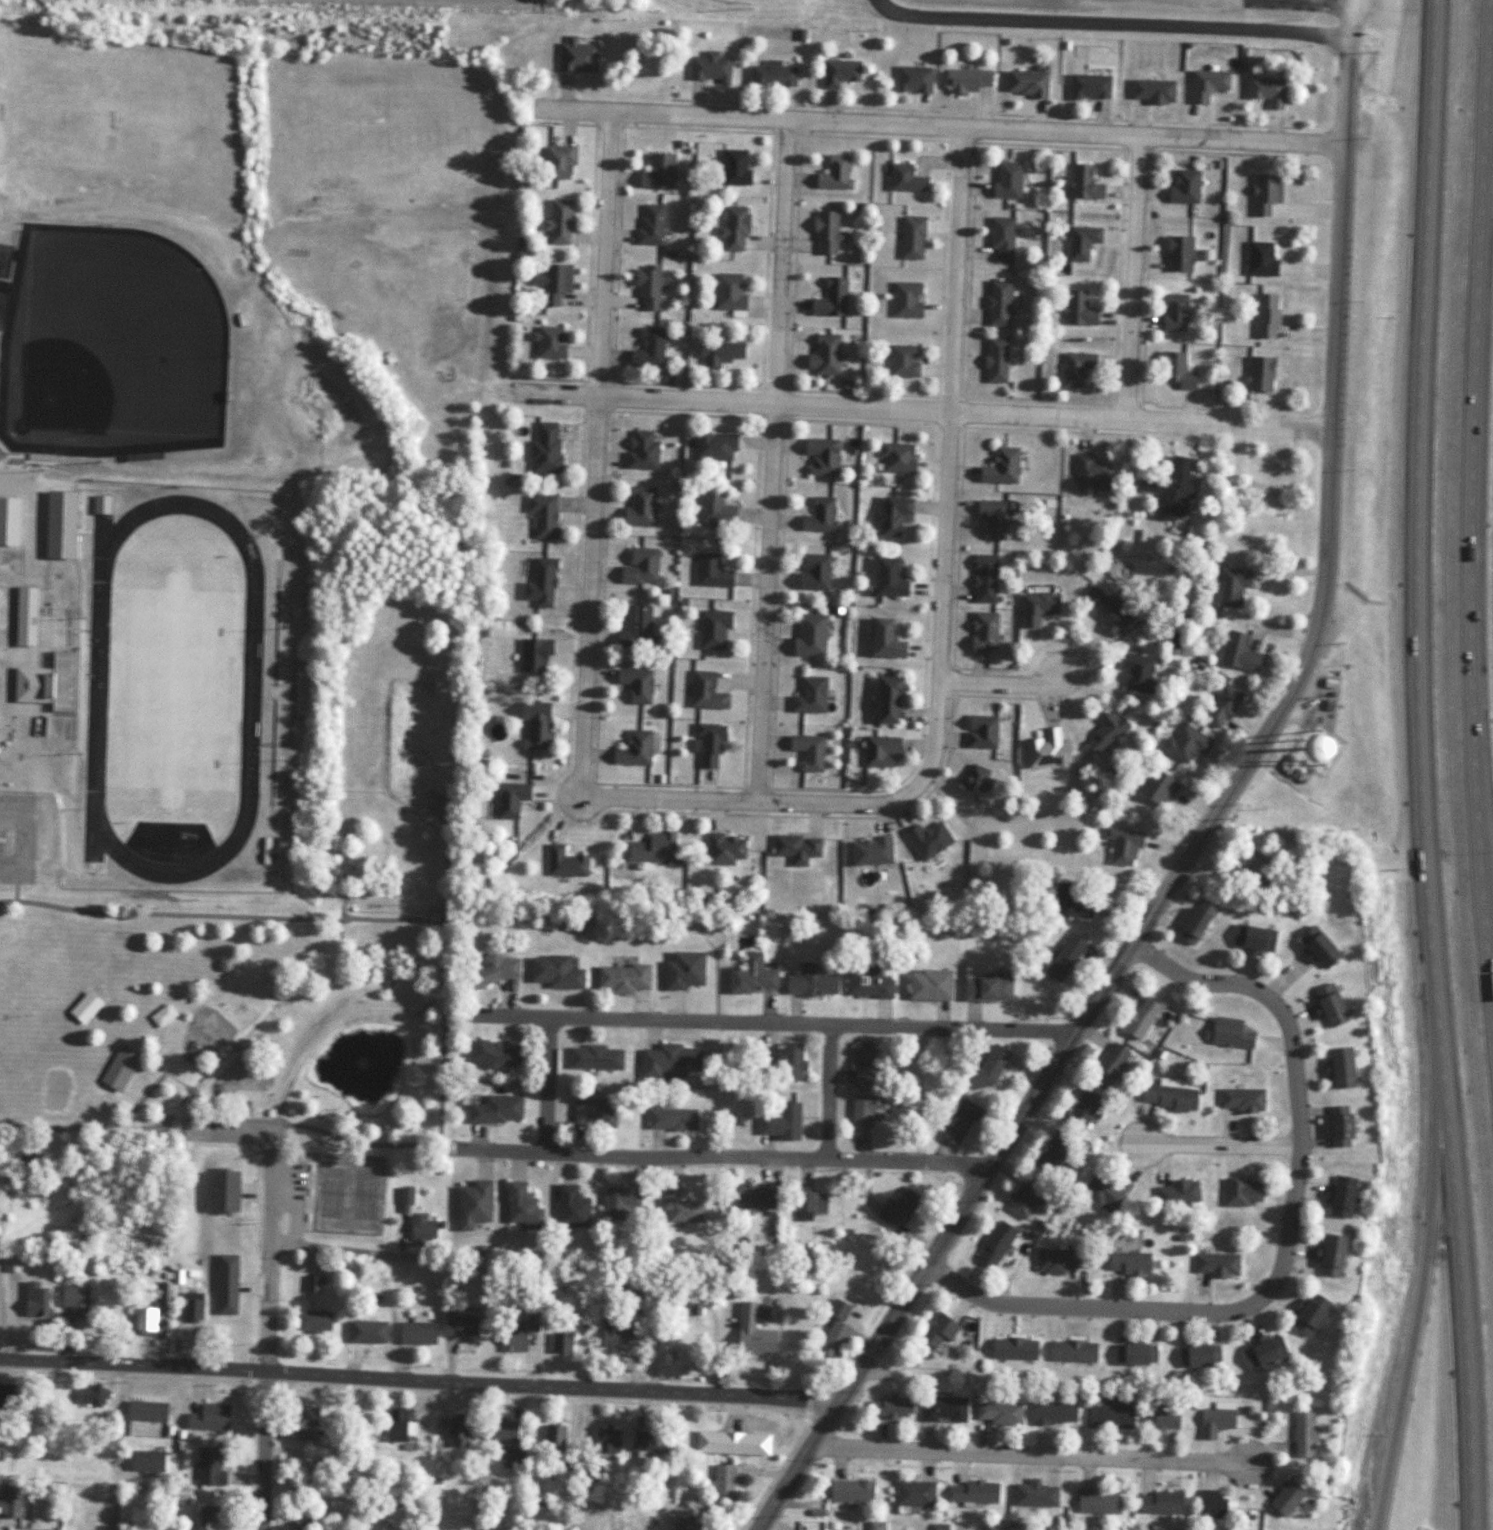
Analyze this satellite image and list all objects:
park: (782, 1)
road: (1110, 24)
building: (576, 56)
building: (709, 68)
building: (839, 72)
building: (771, 75)
building: (912, 80)
building: (965, 81)
building: (1025, 83)
building: (1206, 84)
building: (1088, 87)
building: (1153, 91)
building: (1265, 91)
road: (936, 127)
building: (557, 161)
building: (732, 168)
building: (657, 172)
building: (834, 174)
building: (904, 180)
building: (1006, 180)
building: (1083, 184)
building: (1183, 187)
building: (1264, 193)
building: (557, 222)
building: (650, 225)
building: (732, 229)
building: (826, 233)
building: (910, 238)
building: (1001, 238)
building: (1080, 242)
building: (1178, 254)
building: (1260, 259)
road: (1132, 277)
building: (553, 283)
building: (647, 287)
building: (728, 292)
building: (830, 298)
building: (905, 300)
building: (997, 303)
building: (1076, 309)
building: (1173, 313)
building: (1265, 316)
park: (118, 341)
building: (550, 342)
building: (647, 349)
building: (718, 353)
building: (823, 356)
building: (994, 360)
building: (902, 361)
building: (1075, 368)
building: (1175, 371)
building: (1259, 374)
road: (923, 409)
building: (712, 446)
building: (546, 448)
building: (640, 449)
road: (946, 453)
building: (820, 455)
road: (593, 456)
building: (895, 457)
road: (769, 462)
building: (1000, 466)
road: (1480, 469)
building: (1090, 472)
building: (1170, 489)
building: (99, 503)
building: (638, 505)
building: (713, 505)
building: (544, 514)
building: (891, 514)
building: (819, 515)
building: (992, 518)
building: (639, 566)
building: (709, 569)
building: (812, 571)
building: (886, 577)
building: (984, 578)
building: (540, 580)
building: (1231, 586)
building: (1037, 607)
building: (1103, 609)
building: (23, 616)
building: (634, 627)
building: (711, 629)
building: (982, 631)
building: (809, 635)
building: (882, 638)
building: (1237, 652)
building: (535, 653)
park: (378, 658)
building: (1136, 672)
road: (1000, 683)
building: (635, 684)
building: (29, 685)
stadium: (171, 686)
building: (704, 691)
building: (810, 695)
building: (886, 699)
building: (1220, 705)
building: (536, 722)
building: (980, 731)
building: (1185, 743)
building: (707, 744)
building: (1043, 748)
water tower: (1314, 748)
building: (633, 749)
building: (807, 751)
building: (878, 751)
road: (1421, 765)
building: (972, 782)
building: (1155, 787)
building: (509, 795)
road: (757, 804)
road: (1211, 816)
parking lot: (24, 834)
building: (927, 838)
building: (1122, 846)
building: (652, 848)
building: (796, 848)
building: (724, 849)
building: (870, 851)
building: (564, 863)
building: (1252, 868)
building: (1069, 903)
building: (1193, 922)
building: (1253, 939)
building: (1315, 947)
building: (1063, 957)
building: (492, 969)
building: (683, 970)
building: (553, 972)
building: (750, 975)
building: (622, 979)
building: (869, 981)
building: (809, 983)
building: (928, 985)
building: (985, 989)
road: (436, 996)
building: (1328, 1005)
building: (84, 1008)
building: (164, 1014)
building: (1140, 1017)
road: (771, 1022)
building: (1229, 1033)
building: (497, 1052)
building: (594, 1057)
building: (783, 1060)
building: (669, 1061)
building: (991, 1063)
building: (863, 1064)
building: (1109, 1064)
building: (120, 1068)
building: (1339, 1068)
road: (1292, 1074)
road: (545, 1085)
park: (54, 1089)
road: (827, 1090)
building: (1169, 1097)
building: (1240, 1099)
building: (496, 1106)
building: (1080, 1109)
building: (592, 1113)
building: (859, 1116)
building: (670, 1119)
building: (780, 1122)
building: (958, 1122)
building: (1336, 1126)
parking lot: (217, 1128)
road: (1221, 1147)
road: (726, 1155)
building: (1051, 1157)
parking lot: (298, 1180)
building: (1100, 1191)
building: (1240, 1191)
building: (1176, 1192)
park: (350, 1194)
building: (746, 1194)
building: (405, 1196)
building: (1339, 1196)
building: (1023, 1200)
building: (618, 1201)
building: (808, 1201)
building: (472, 1204)
building: (520, 1205)
building: (679, 1206)
building: (570, 1207)
building: (897, 1208)
road: (1, 1224)
building: (421, 1229)
building: (994, 1244)
road: (337, 1250)
building: (1329, 1255)
building: (1055, 1261)
building: (12, 1263)
building: (1127, 1263)
building: (1215, 1264)
road: (272, 1275)
building: (312, 1289)
building: (35, 1298)
building: (74, 1302)
building: (190, 1307)
road: (1089, 1307)
road: (1414, 1312)
building: (1307, 1314)
building: (145, 1320)
building: (315, 1321)
building: (459, 1326)
building: (937, 1330)
building: (366, 1332)
building: (415, 1333)
building: (611, 1333)
building: (751, 1333)
building: (515, 1337)
building: (832, 1340)
building: (561, 1343)
building: (1013, 1349)
building: (1072, 1351)
building: (1261, 1351)
building: (1135, 1354)
building: (1198, 1356)
road: (418, 1378)
building: (7, 1393)
building: (91, 1396)
building: (891, 1408)
building: (942, 1409)
building: (145, 1411)
building: (997, 1413)
building: (1052, 1413)
building: (305, 1414)
building: (1108, 1416)
building: (208, 1417)
building: (1162, 1420)
building: (1214, 1422)
building: (394, 1425)
building: (501, 1430)
building: (456, 1431)
building: (306, 1434)
building: (1301, 1434)
building: (752, 1435)
building: (551, 1438)
building: (606, 1440)
building: (650, 1442)
road: (264, 1449)
road: (1031, 1452)
building: (509, 1457)
building: (142, 1461)
building: (12, 1462)
building: (206, 1471)
building: (1028, 1480)
building: (725, 1482)
building: (849, 1491)
building: (973, 1492)
building: (913, 1494)
building: (1284, 1498)
building: (1097, 1502)
building: (1159, 1503)
building: (1211, 1504)
building: (9, 1507)
building: (84, 1514)
building: (206, 1517)
building: (299, 1517)
building: (684, 1522)
building: (876, 1526)

